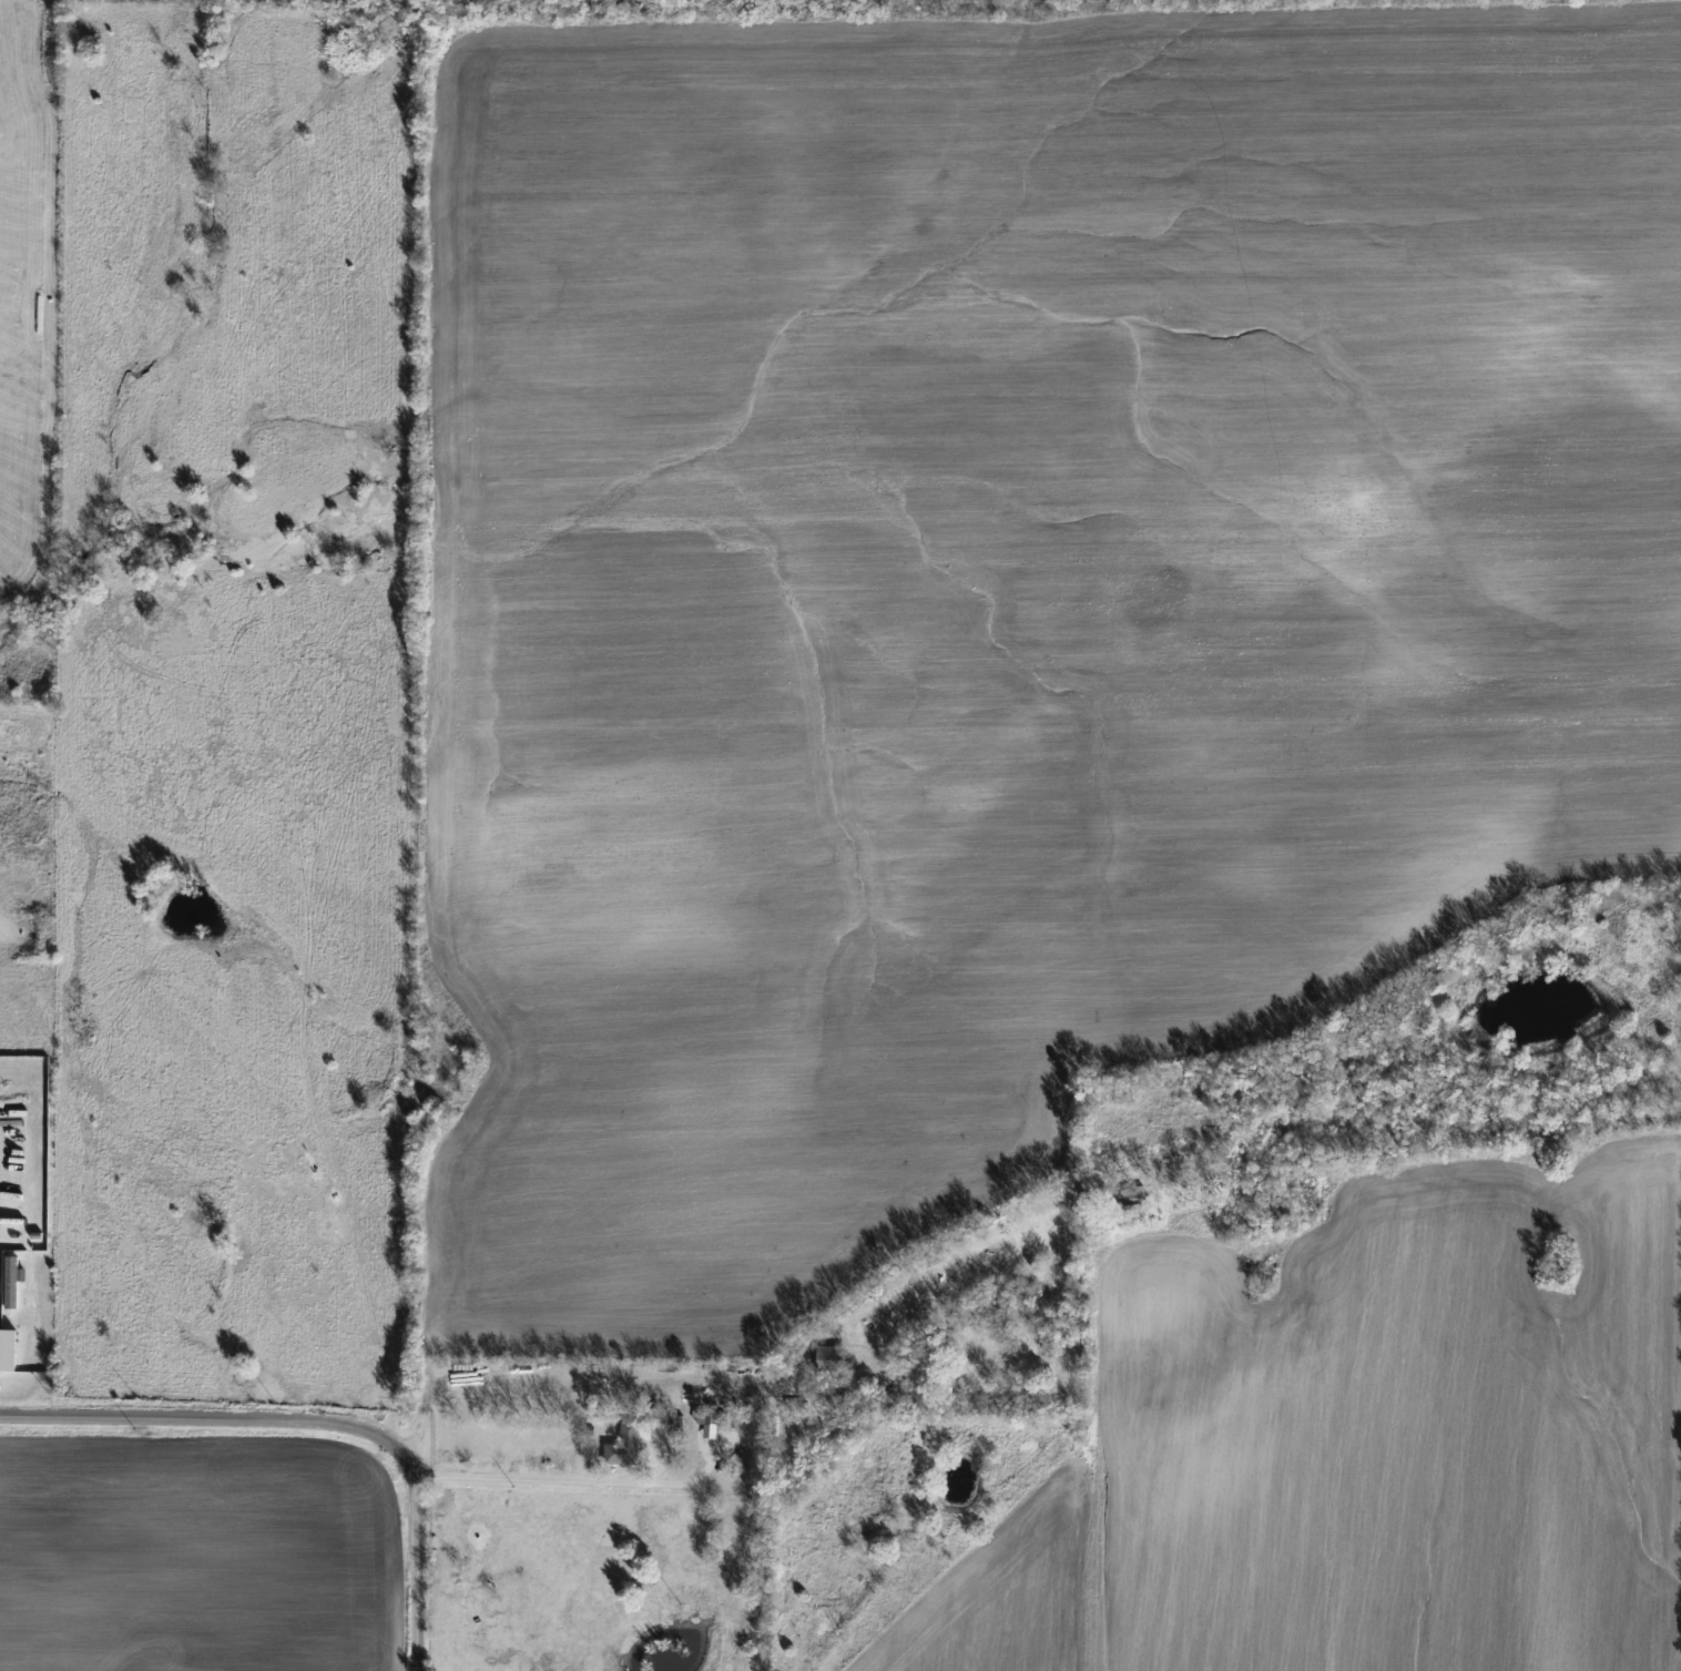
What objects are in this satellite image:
building: (7, 1351)
building: (826, 1361)
building: (707, 1423)
road: (315, 1431)
building: (620, 1447)
road: (553, 1479)

